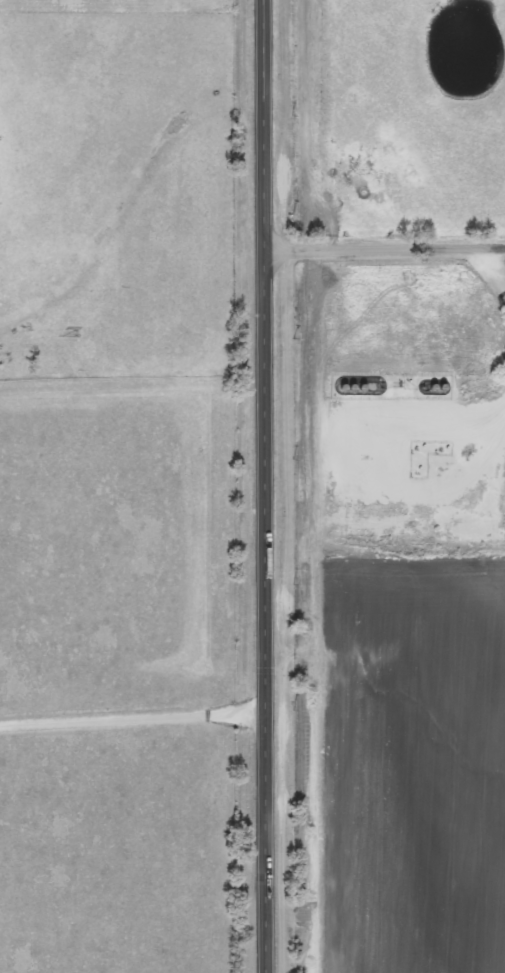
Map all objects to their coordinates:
road: (383, 251)
road: (262, 486)
road: (131, 716)

